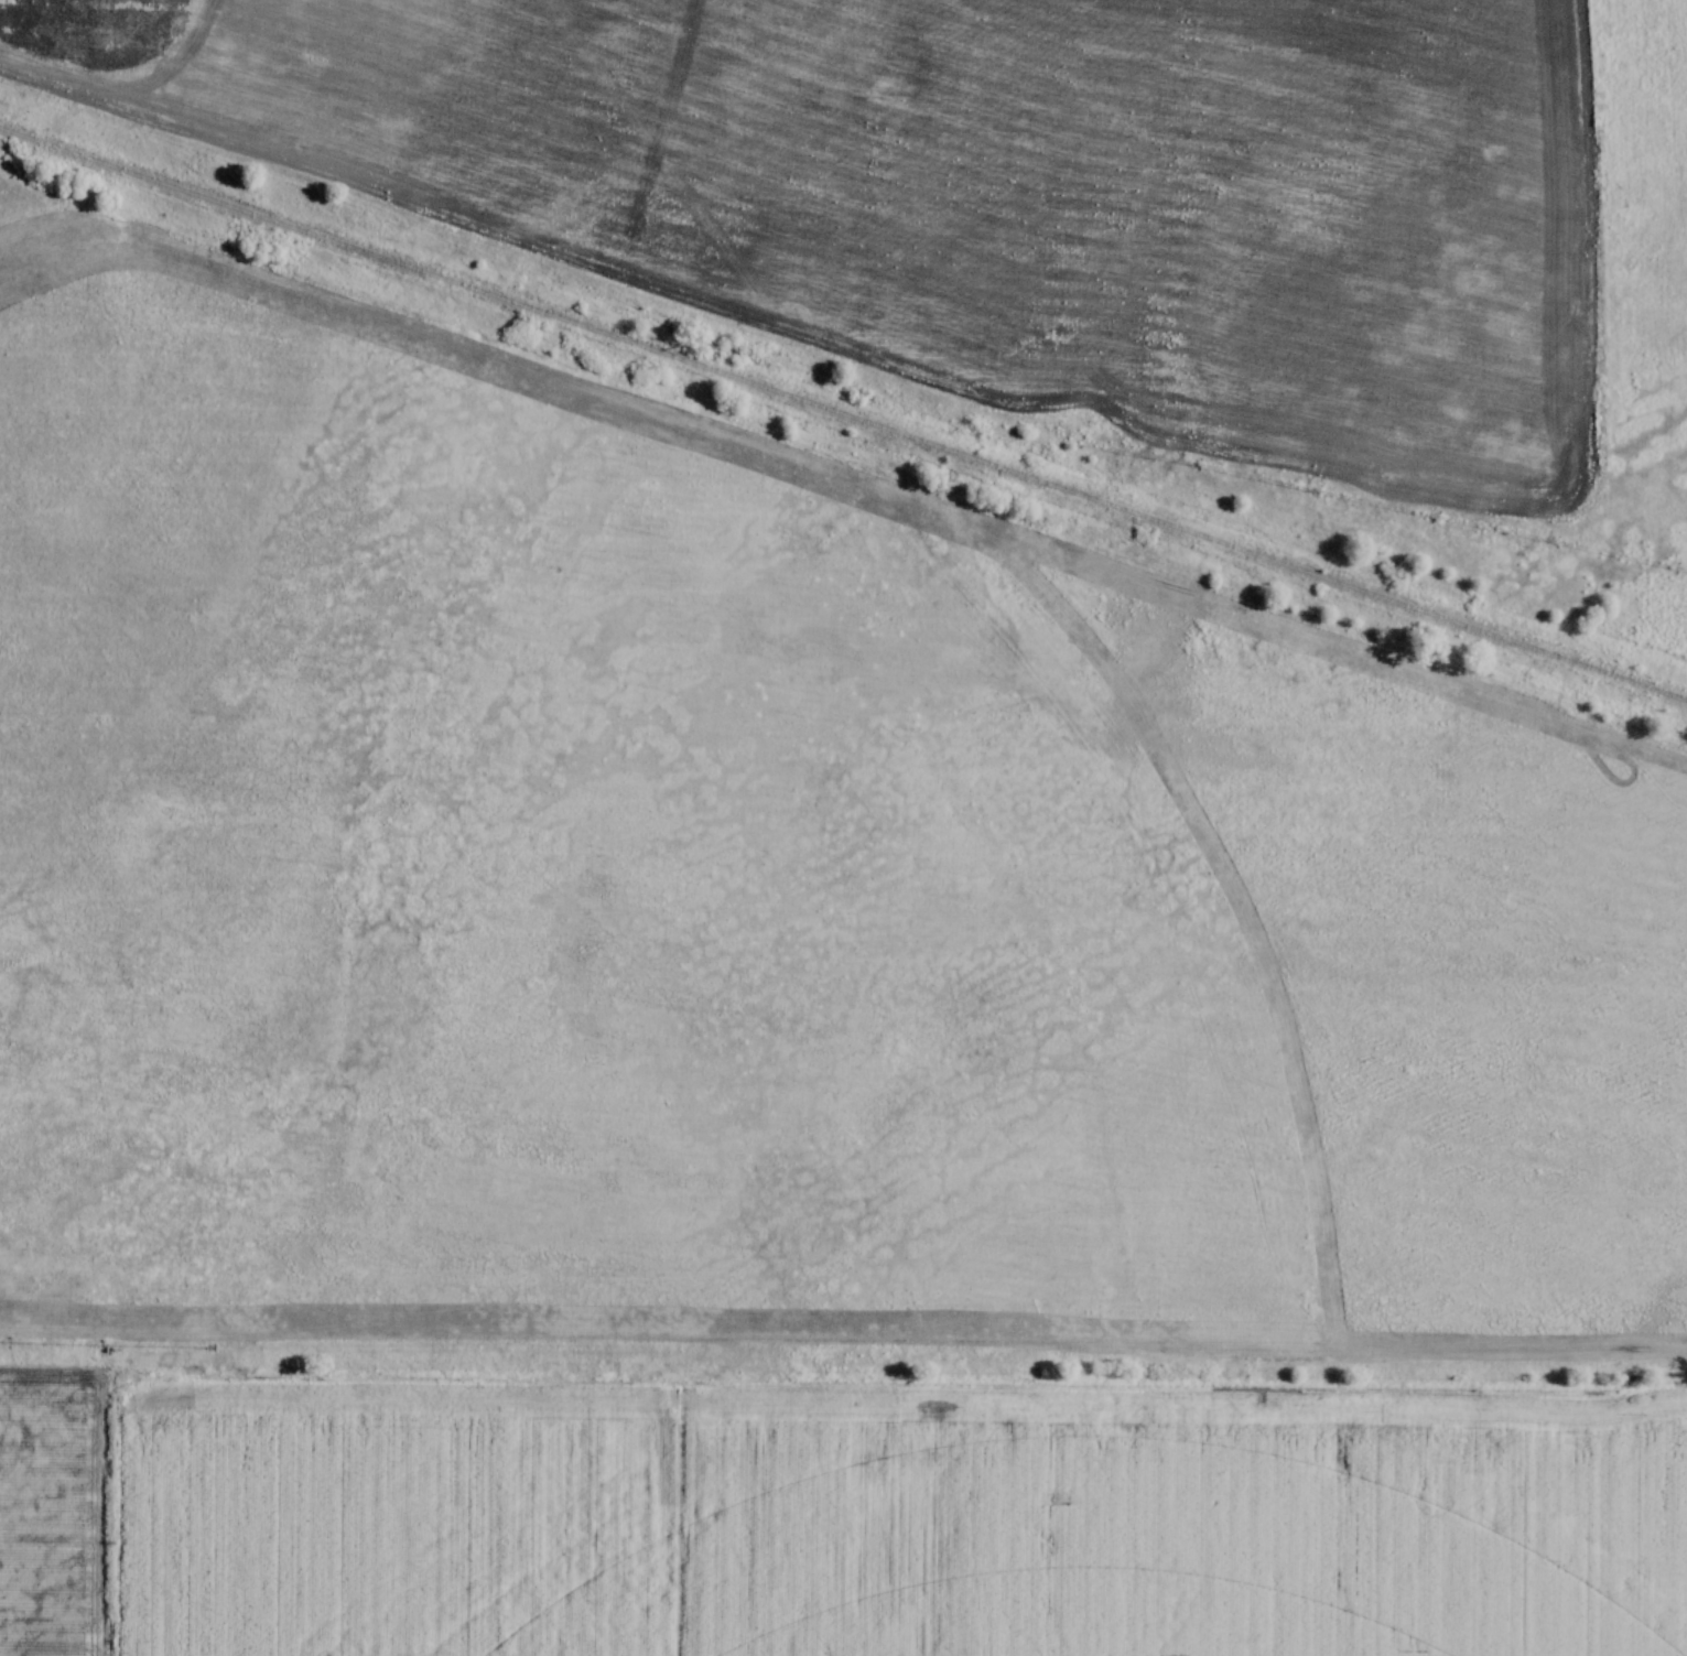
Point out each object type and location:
railway: (843, 424)

